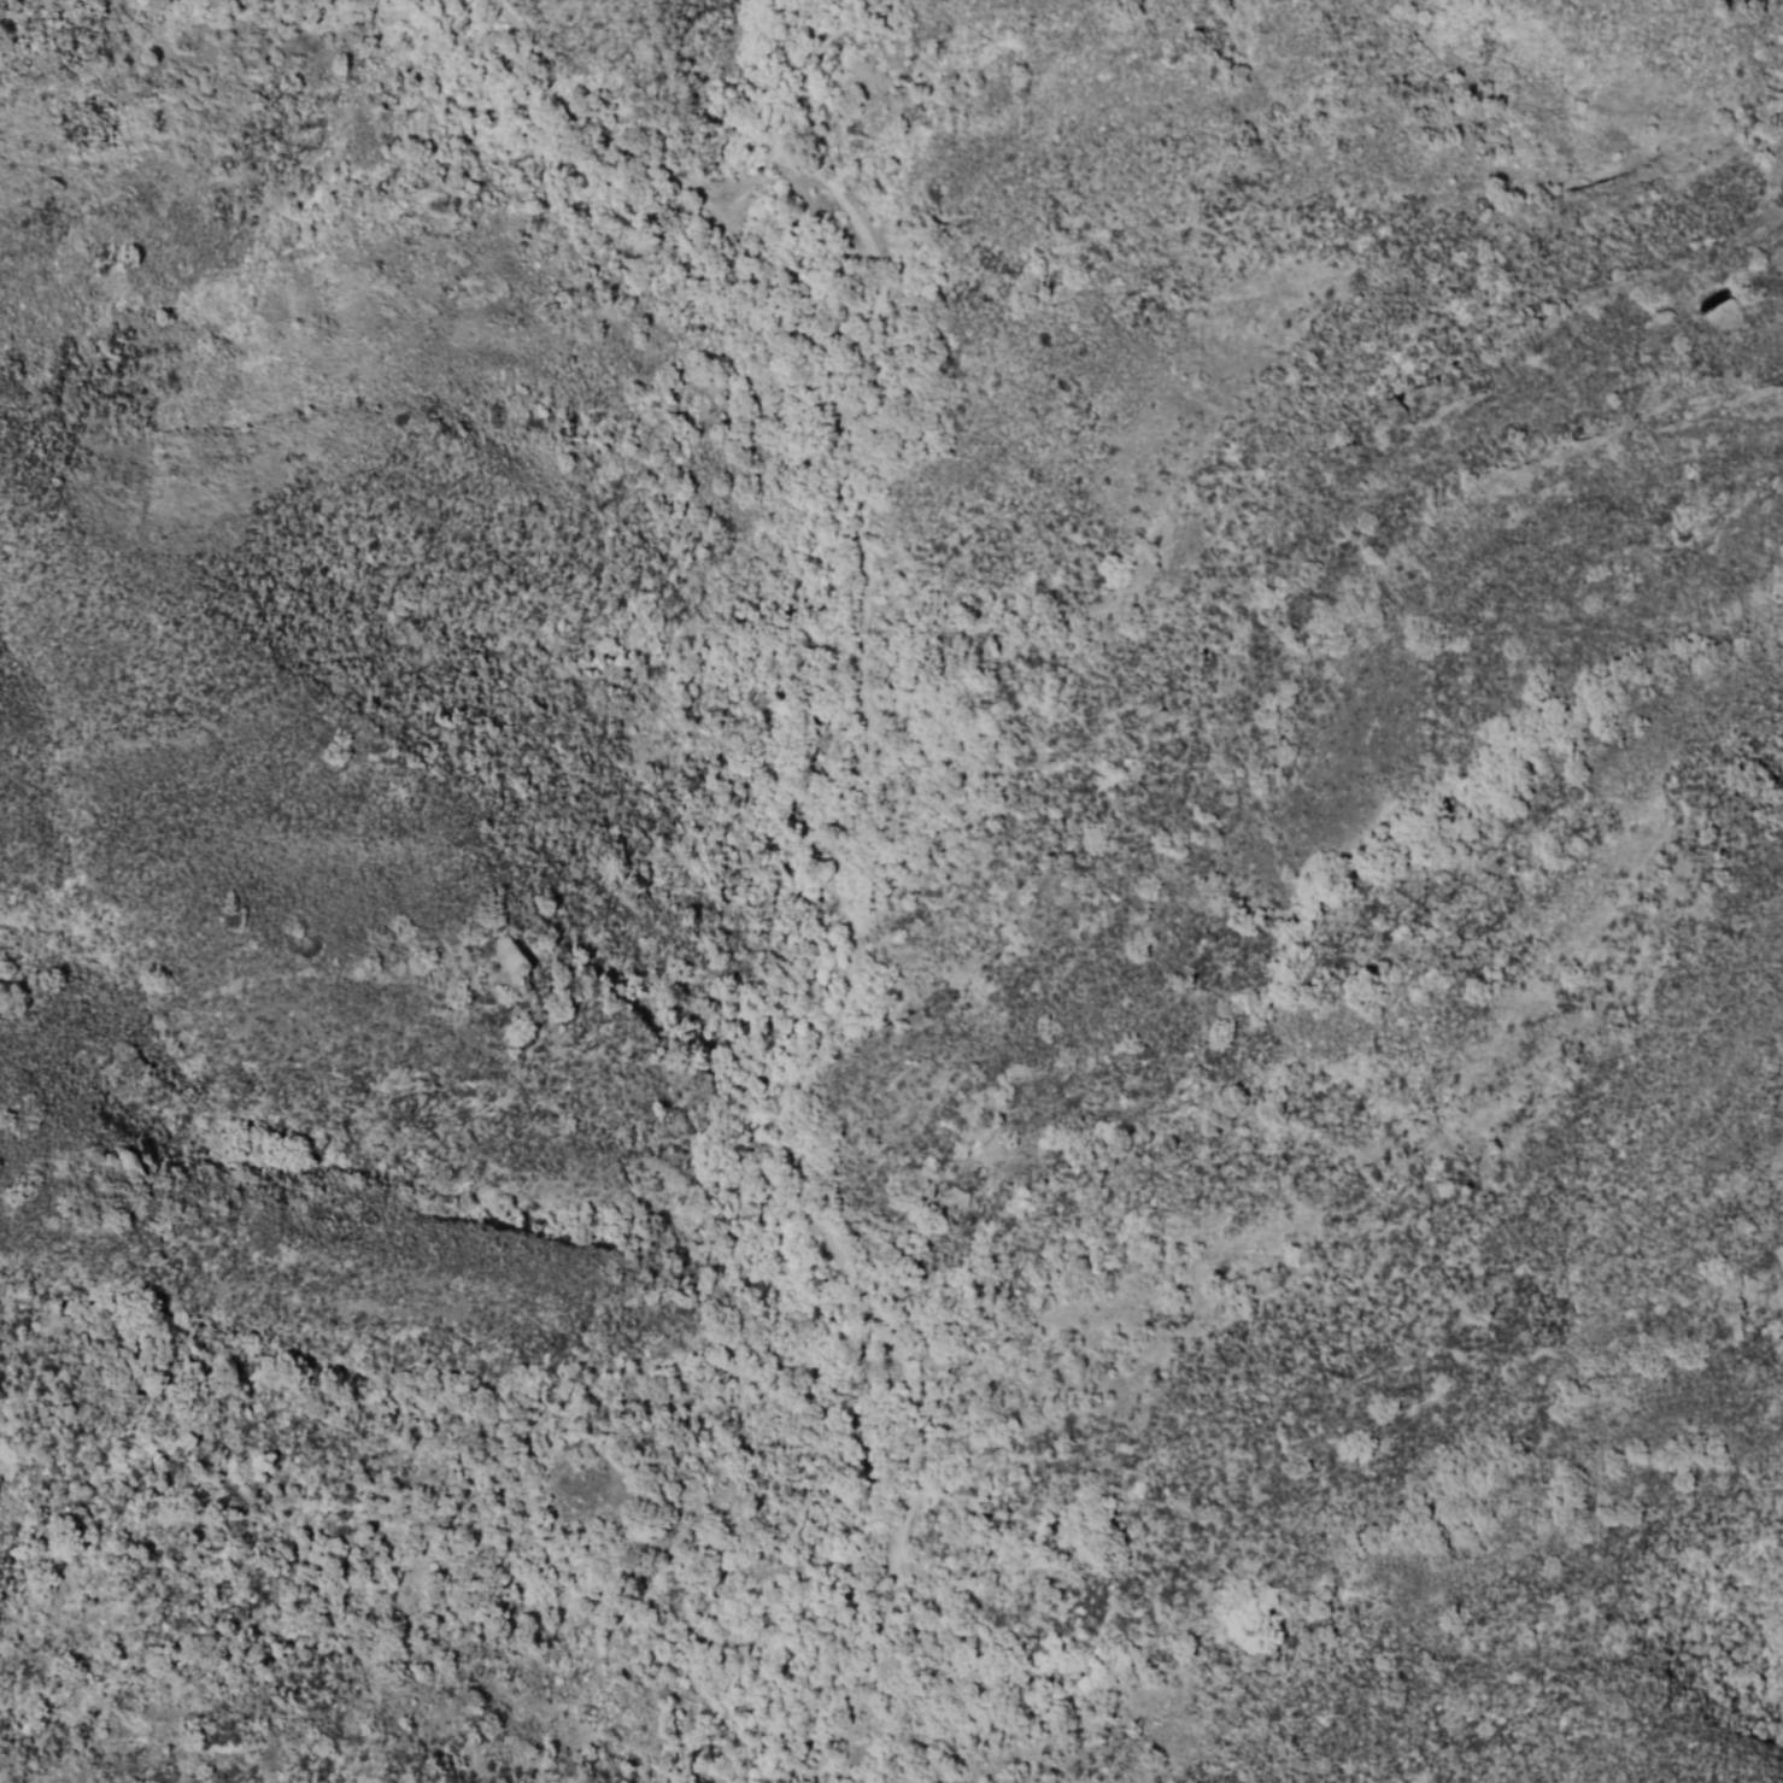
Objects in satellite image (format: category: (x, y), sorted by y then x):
road: (779, 92)
road: (643, 168)
road: (840, 1007)

